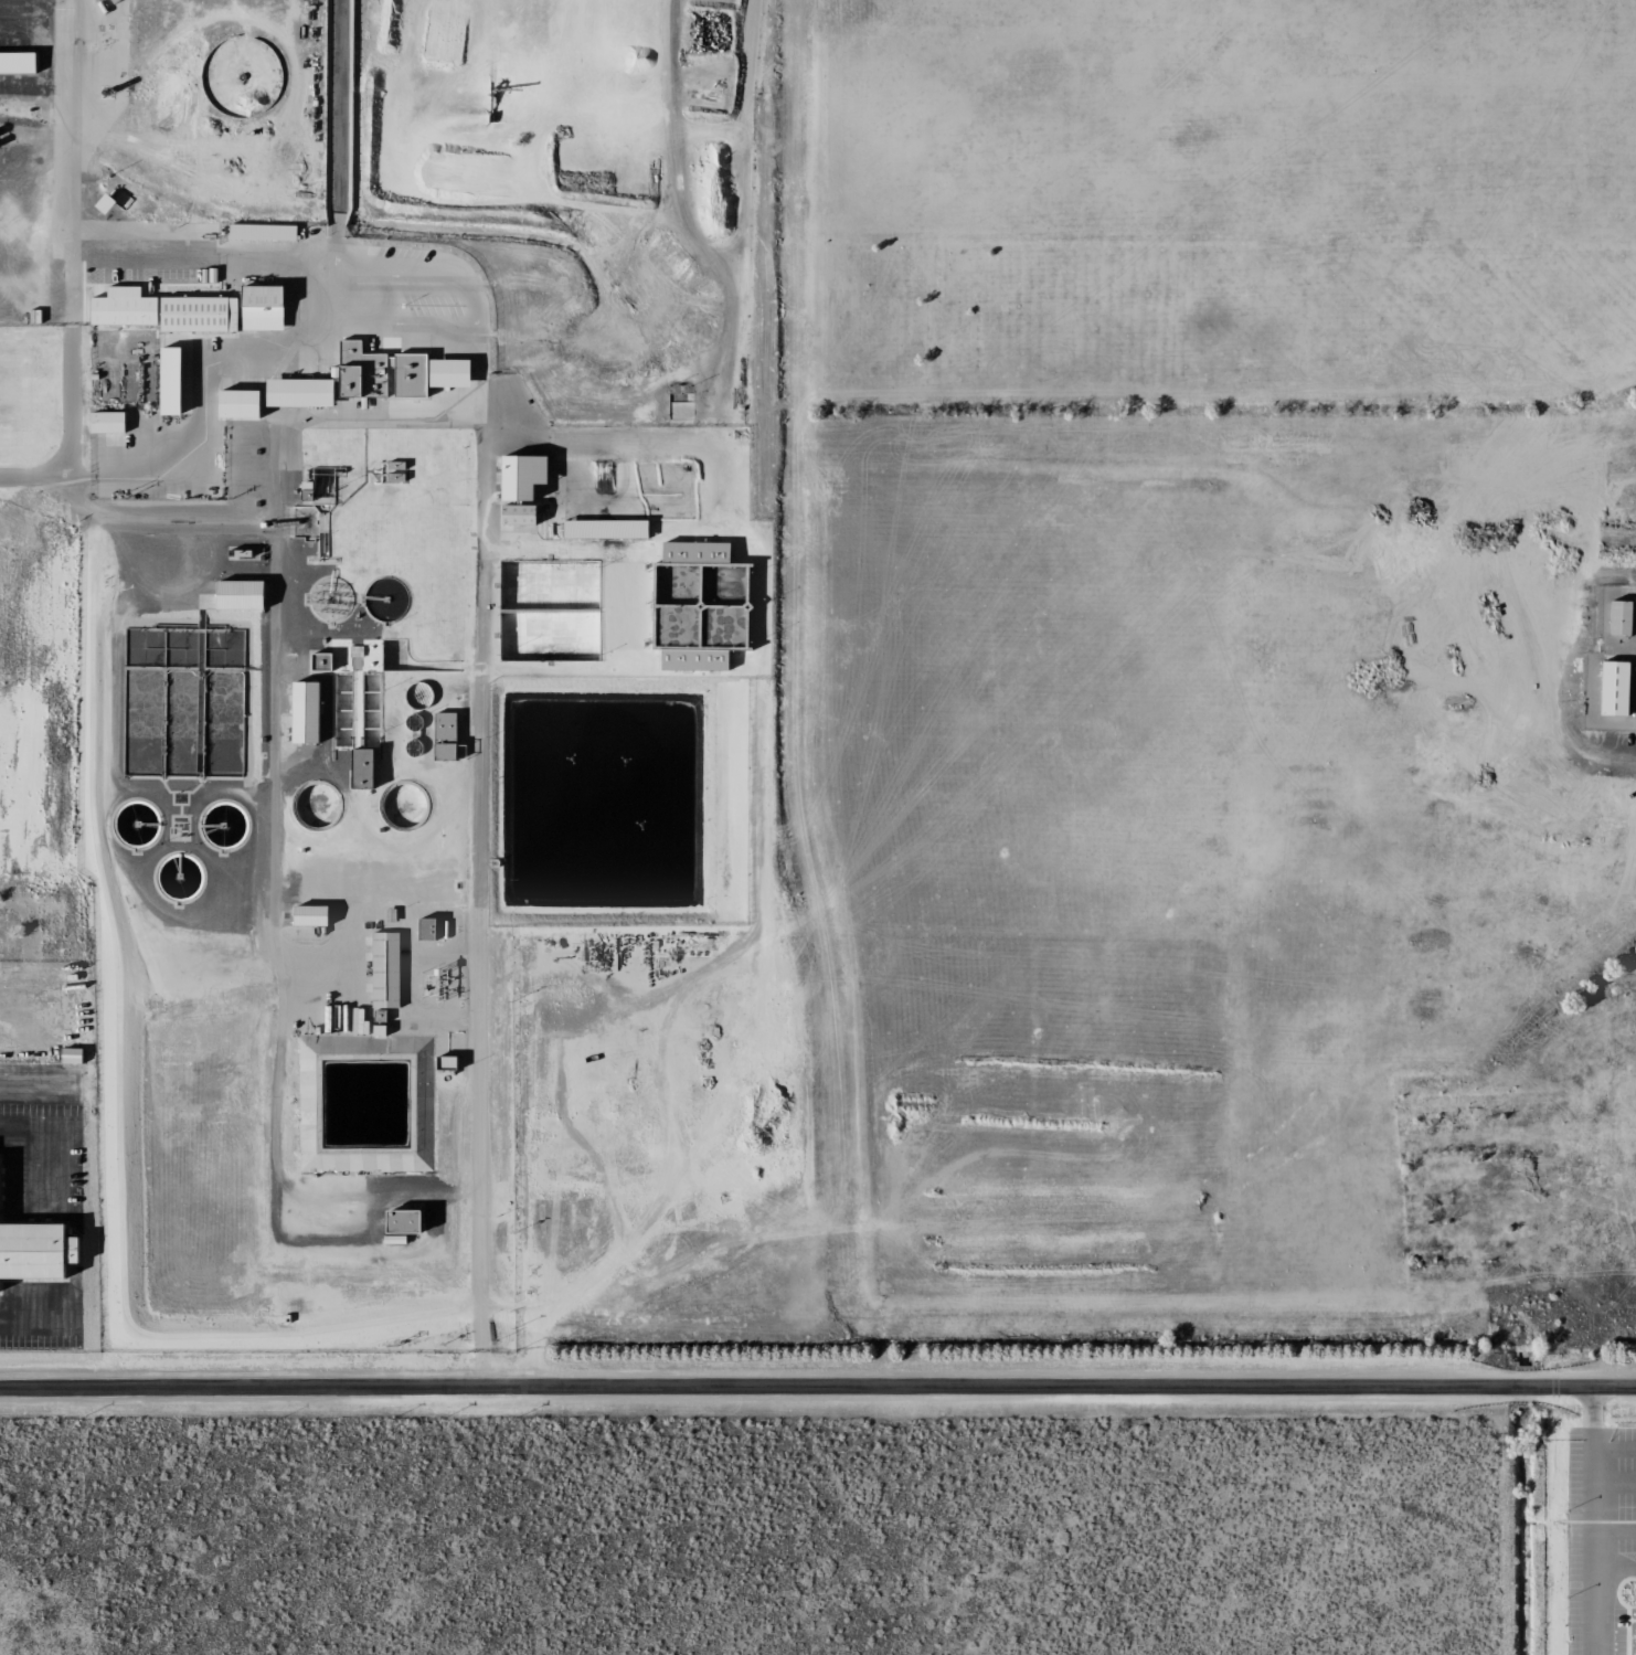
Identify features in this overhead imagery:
building: (18, 63)
road: (340, 105)
building: (259, 232)
road: (68, 238)
building: (188, 310)
building: (392, 373)
building: (166, 381)
building: (295, 393)
building: (233, 404)
building: (105, 423)
building: (516, 475)
road: (34, 477)
building: (517, 513)
building: (691, 552)
building: (236, 594)
building: (693, 659)
building: (317, 661)
building: (1611, 688)
building: (304, 712)
wastewater plant: (381, 735)
building: (443, 735)
building: (306, 915)
building: (424, 929)
building: (383, 969)
building: (70, 1055)
building: (397, 1221)
building: (34, 1250)
road: (818, 1388)

